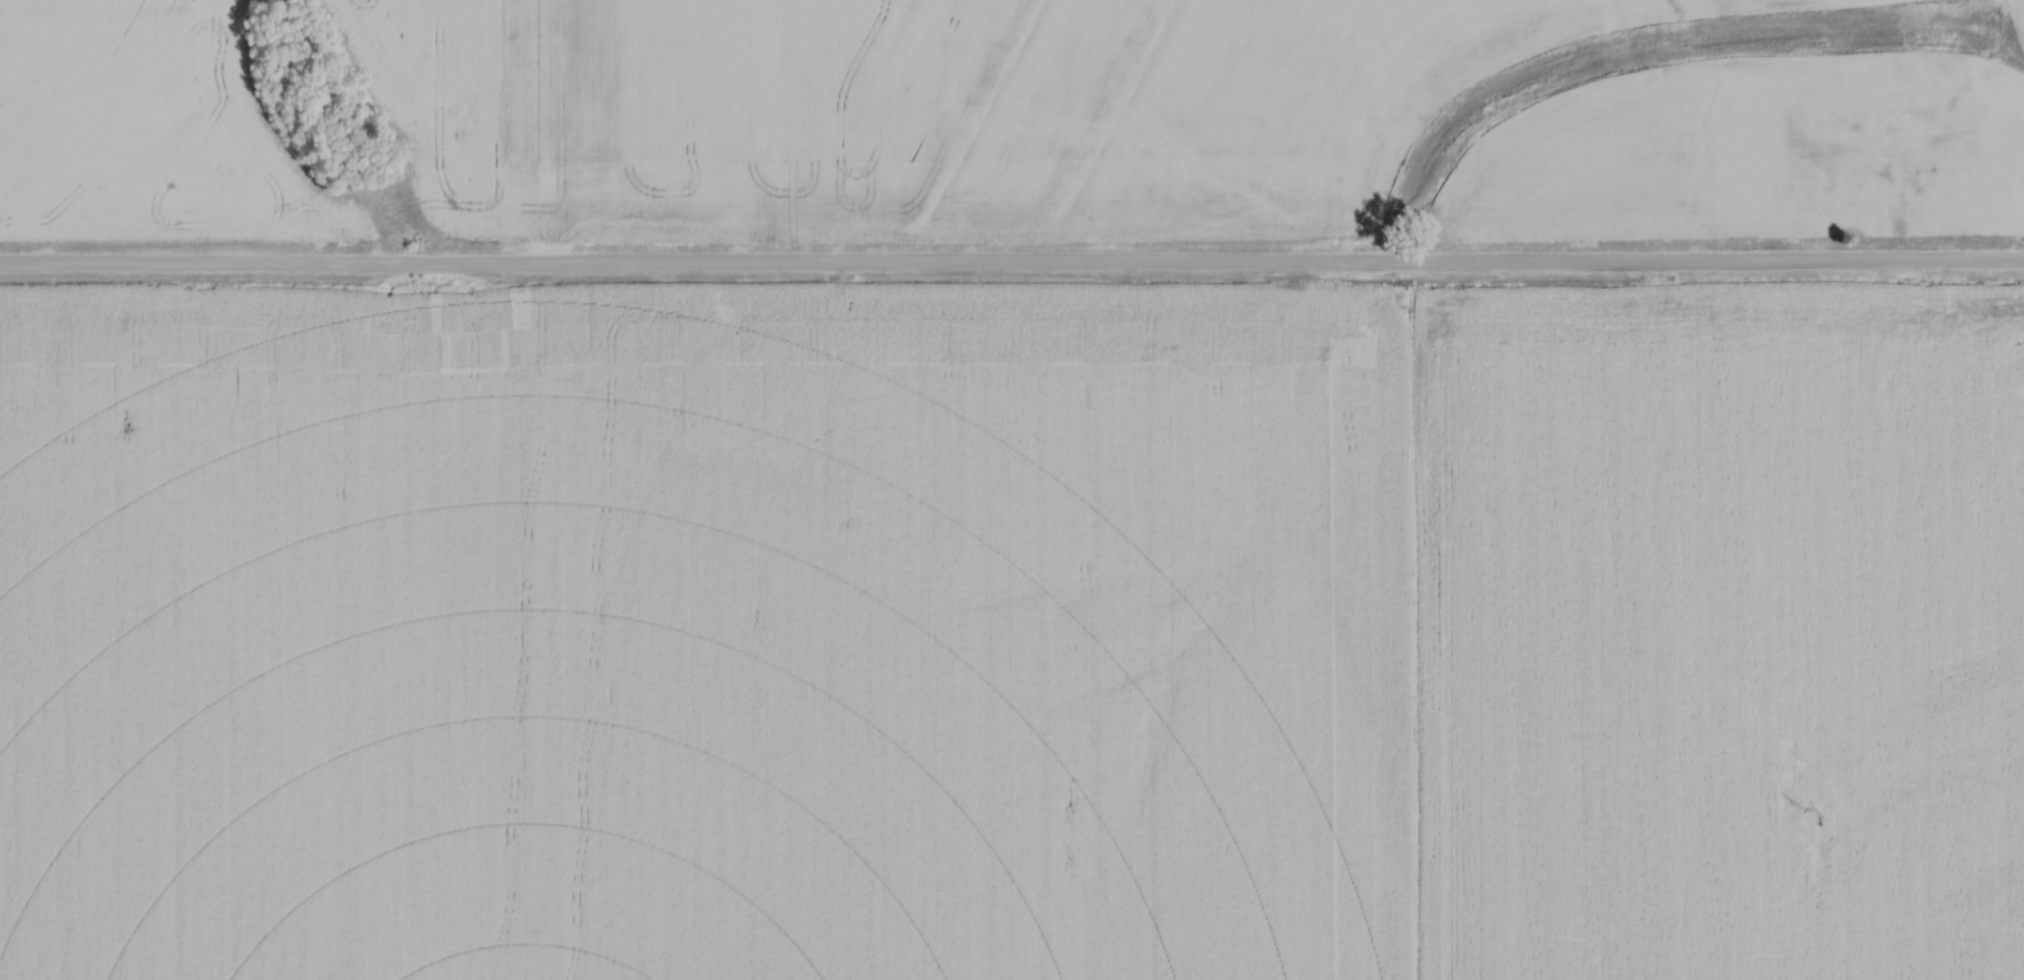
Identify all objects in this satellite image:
building: (1855, 157)
building: (2022, 180)
building: (1942, 198)
road: (1012, 263)
power tower: (1810, 812)

